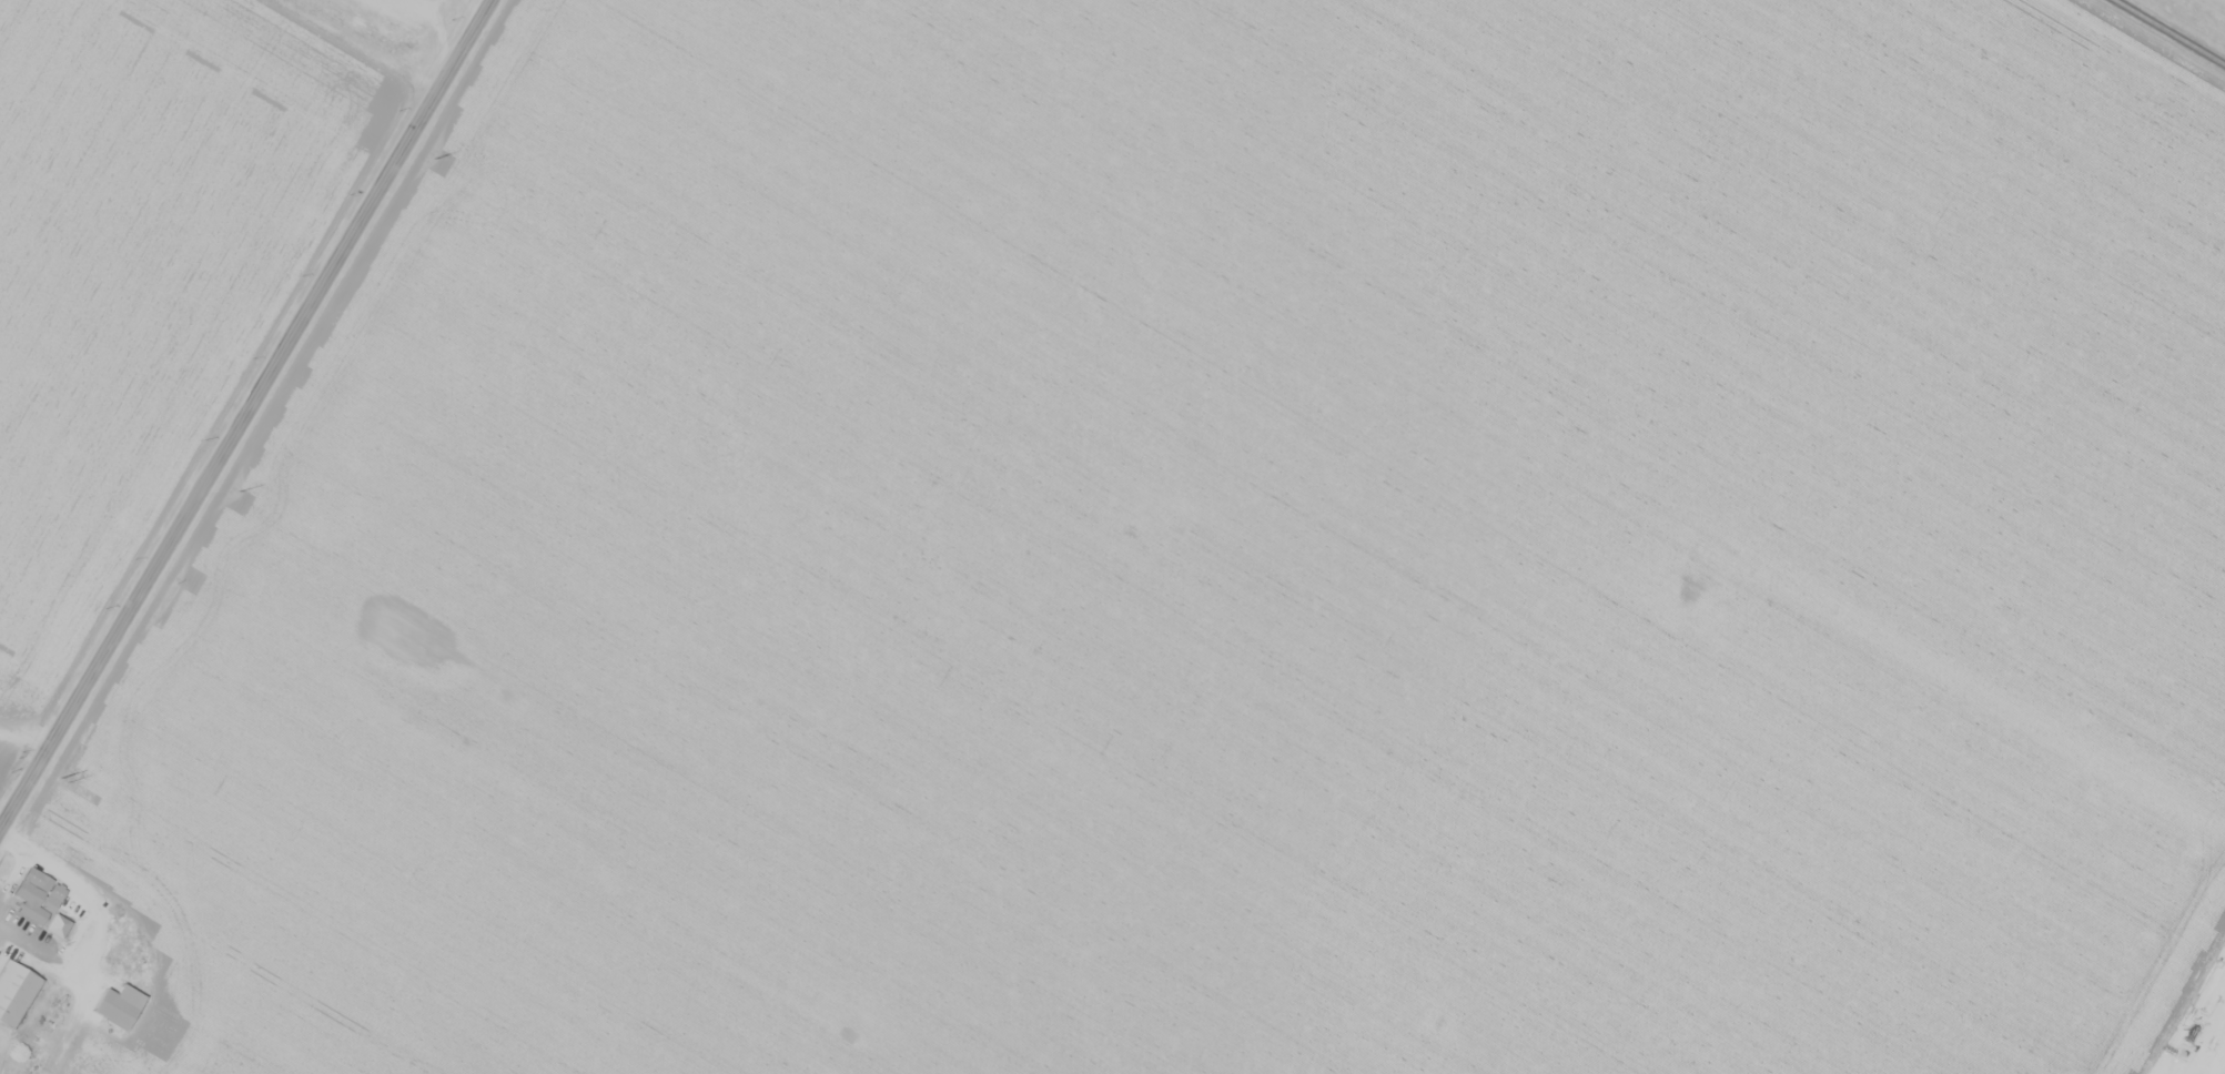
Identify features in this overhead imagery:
railway: (2171, 31)
power tower: (429, 158)
road: (244, 413)
power tower: (235, 486)
road: (26, 736)
power tower: (62, 779)
building: (44, 903)
building: (14, 993)
building: (119, 1006)
road: (2204, 1030)

